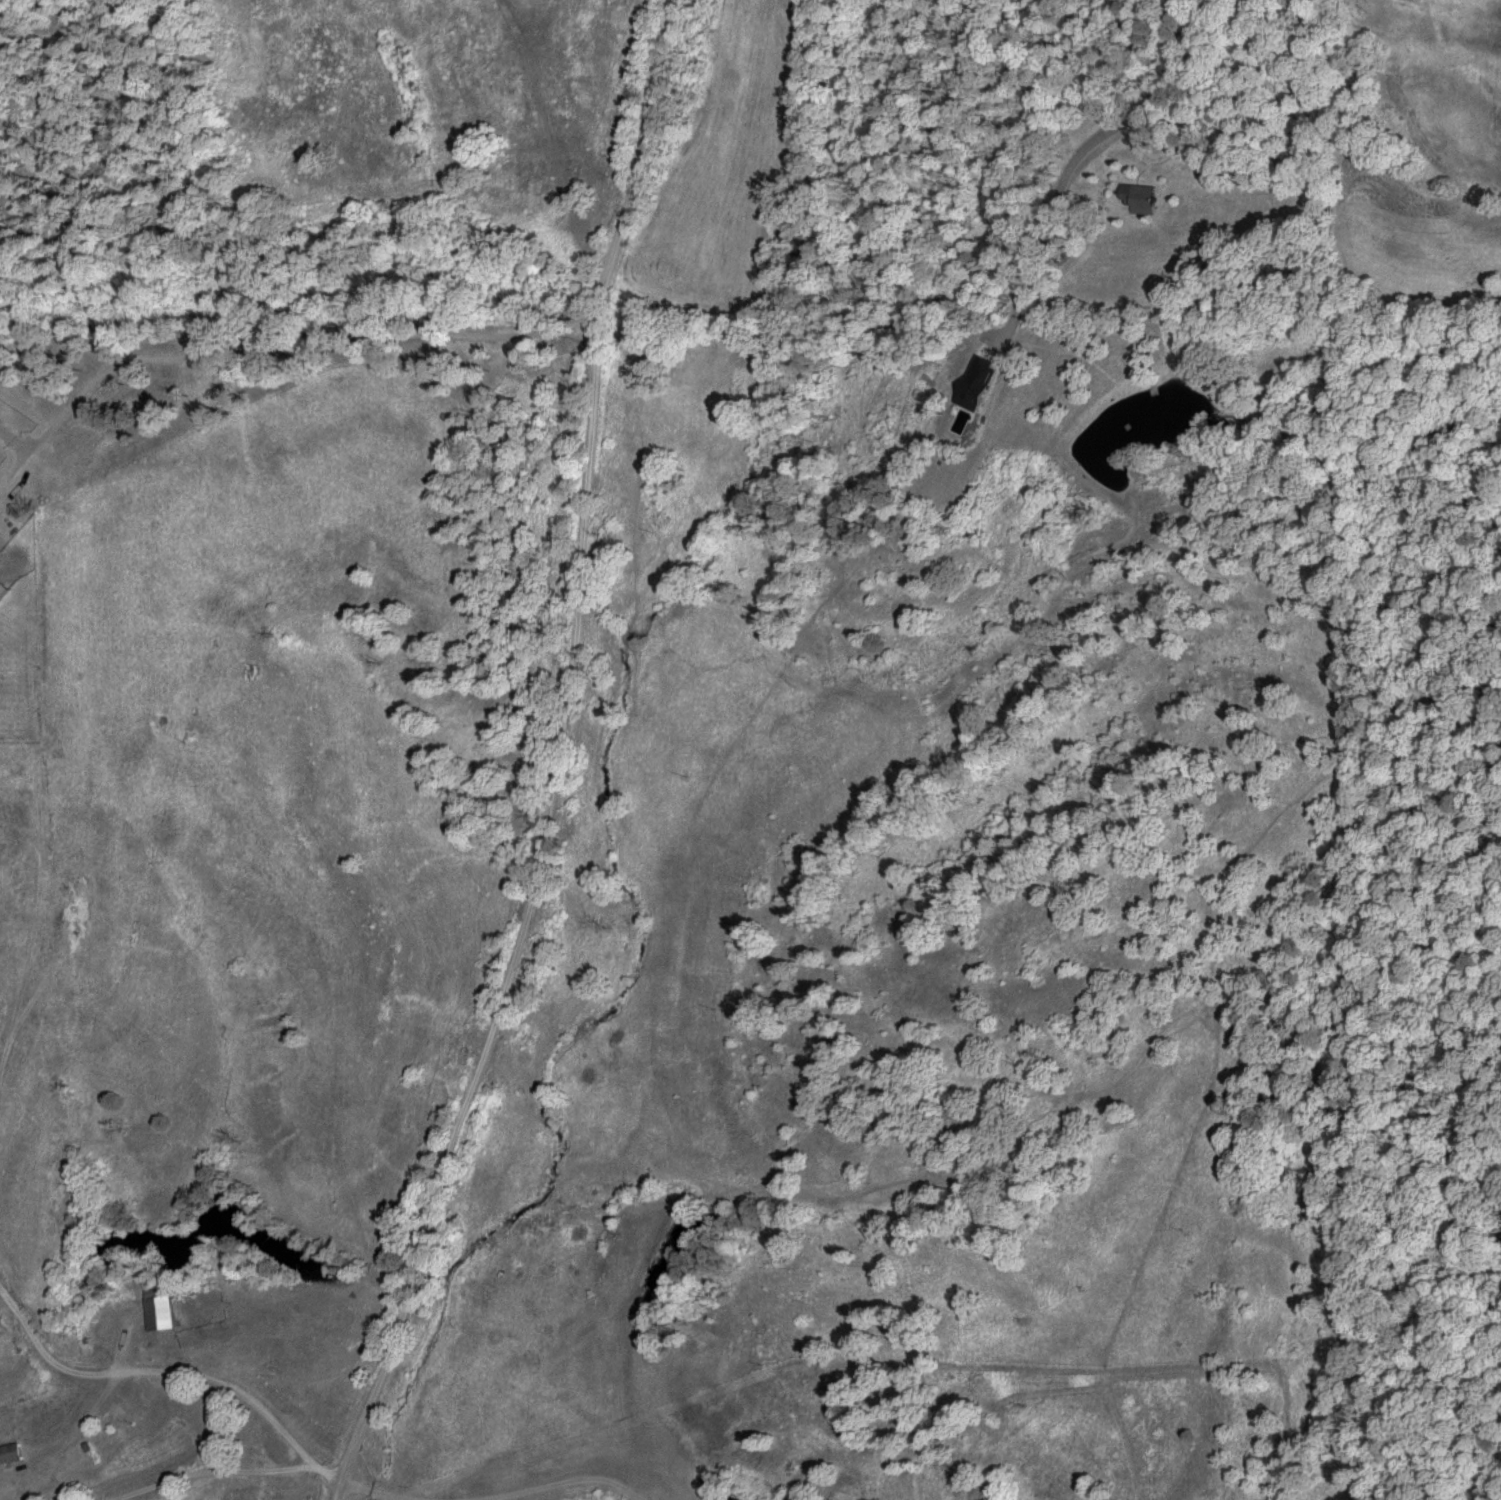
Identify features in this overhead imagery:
building: (1124, 194)
road: (556, 714)
building: (163, 1310)
building: (3, 1322)
road: (241, 1428)
building: (15, 1454)
road: (410, 1470)
road: (460, 1492)

